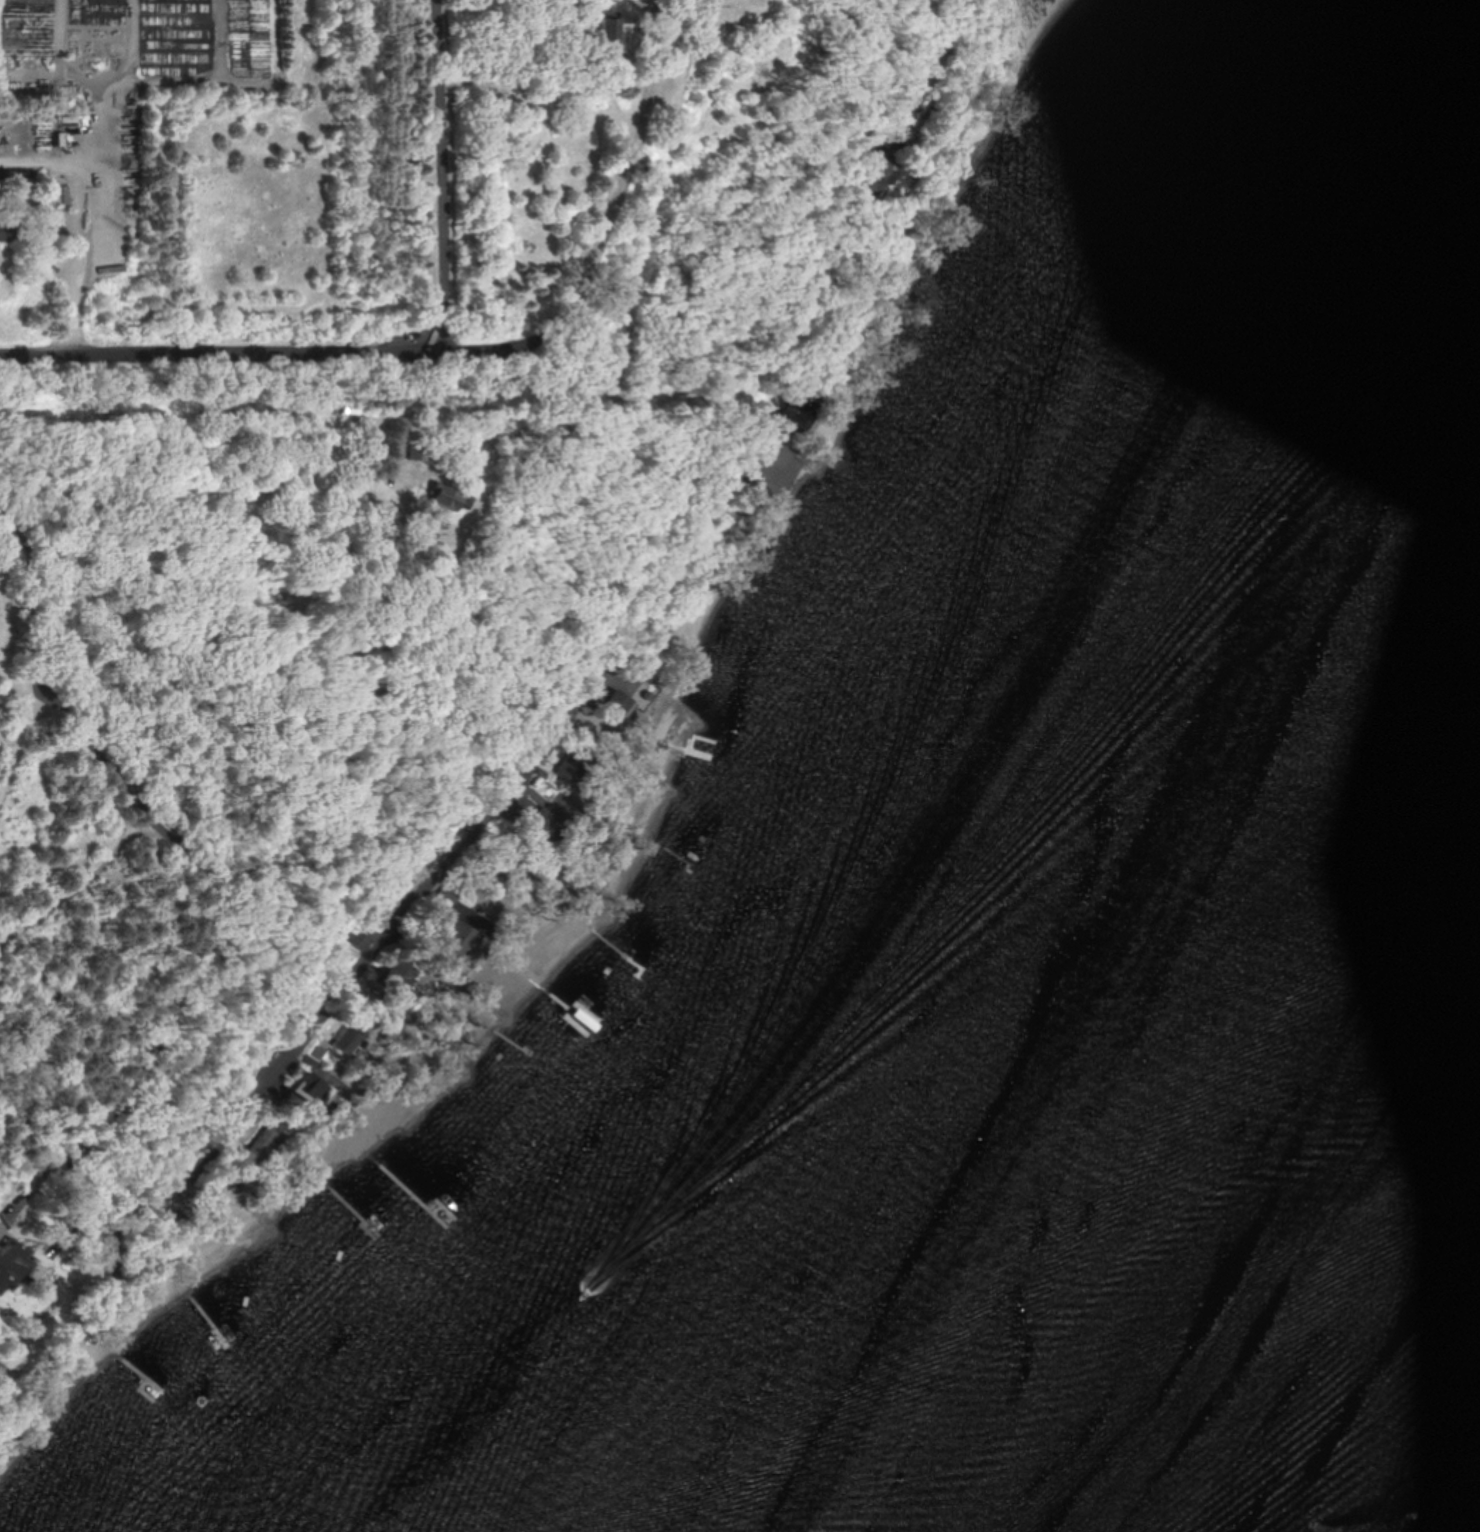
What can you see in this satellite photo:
building: (608, 34)
building: (249, 38)
building: (41, 43)
building: (16, 45)
road: (445, 176)
building: (864, 179)
road: (623, 194)
road: (84, 225)
building: (3, 232)
road: (254, 355)
road: (411, 400)
building: (792, 415)
building: (446, 498)
building: (614, 703)
building: (566, 768)
building: (467, 826)
building: (442, 896)
building: (454, 938)
building: (356, 939)
building: (390, 976)
building: (311, 1090)
river: (1172, 1136)
road: (164, 1172)
road: (16, 1226)
building: (13, 1262)

